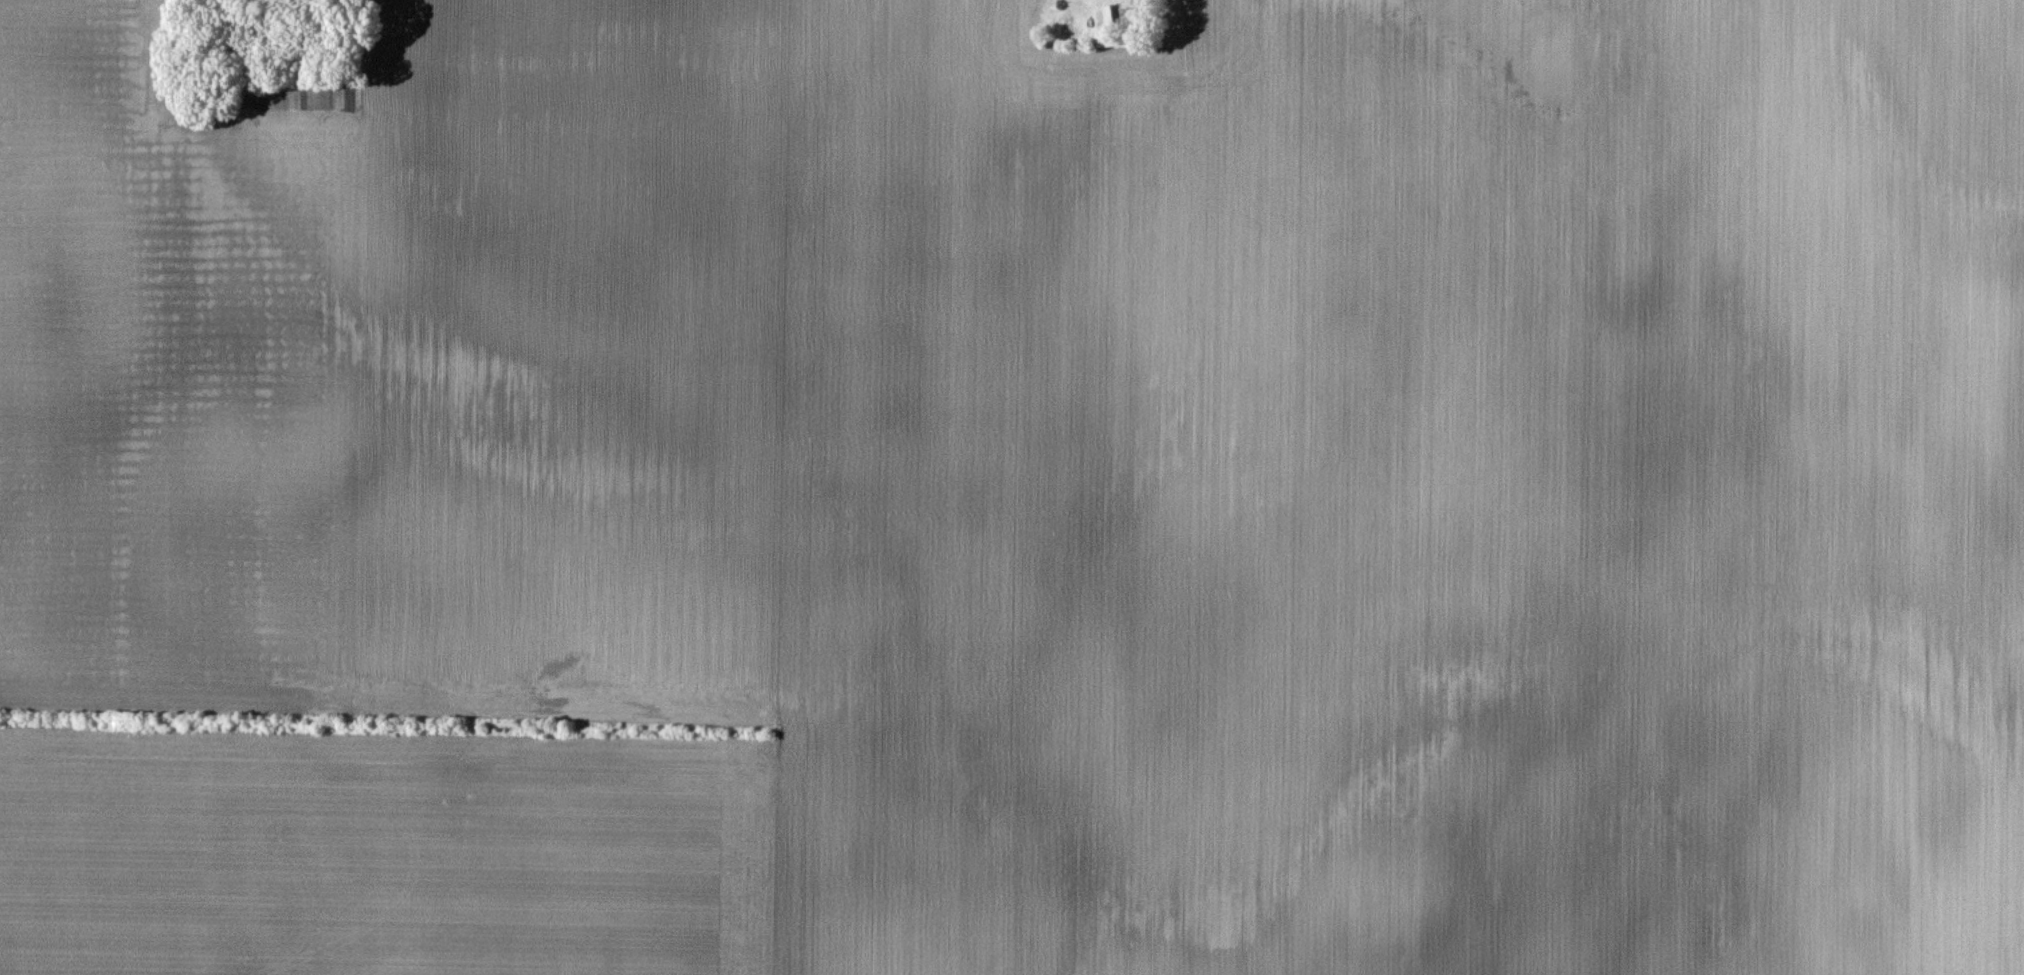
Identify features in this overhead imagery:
crop: (1018, 493)

